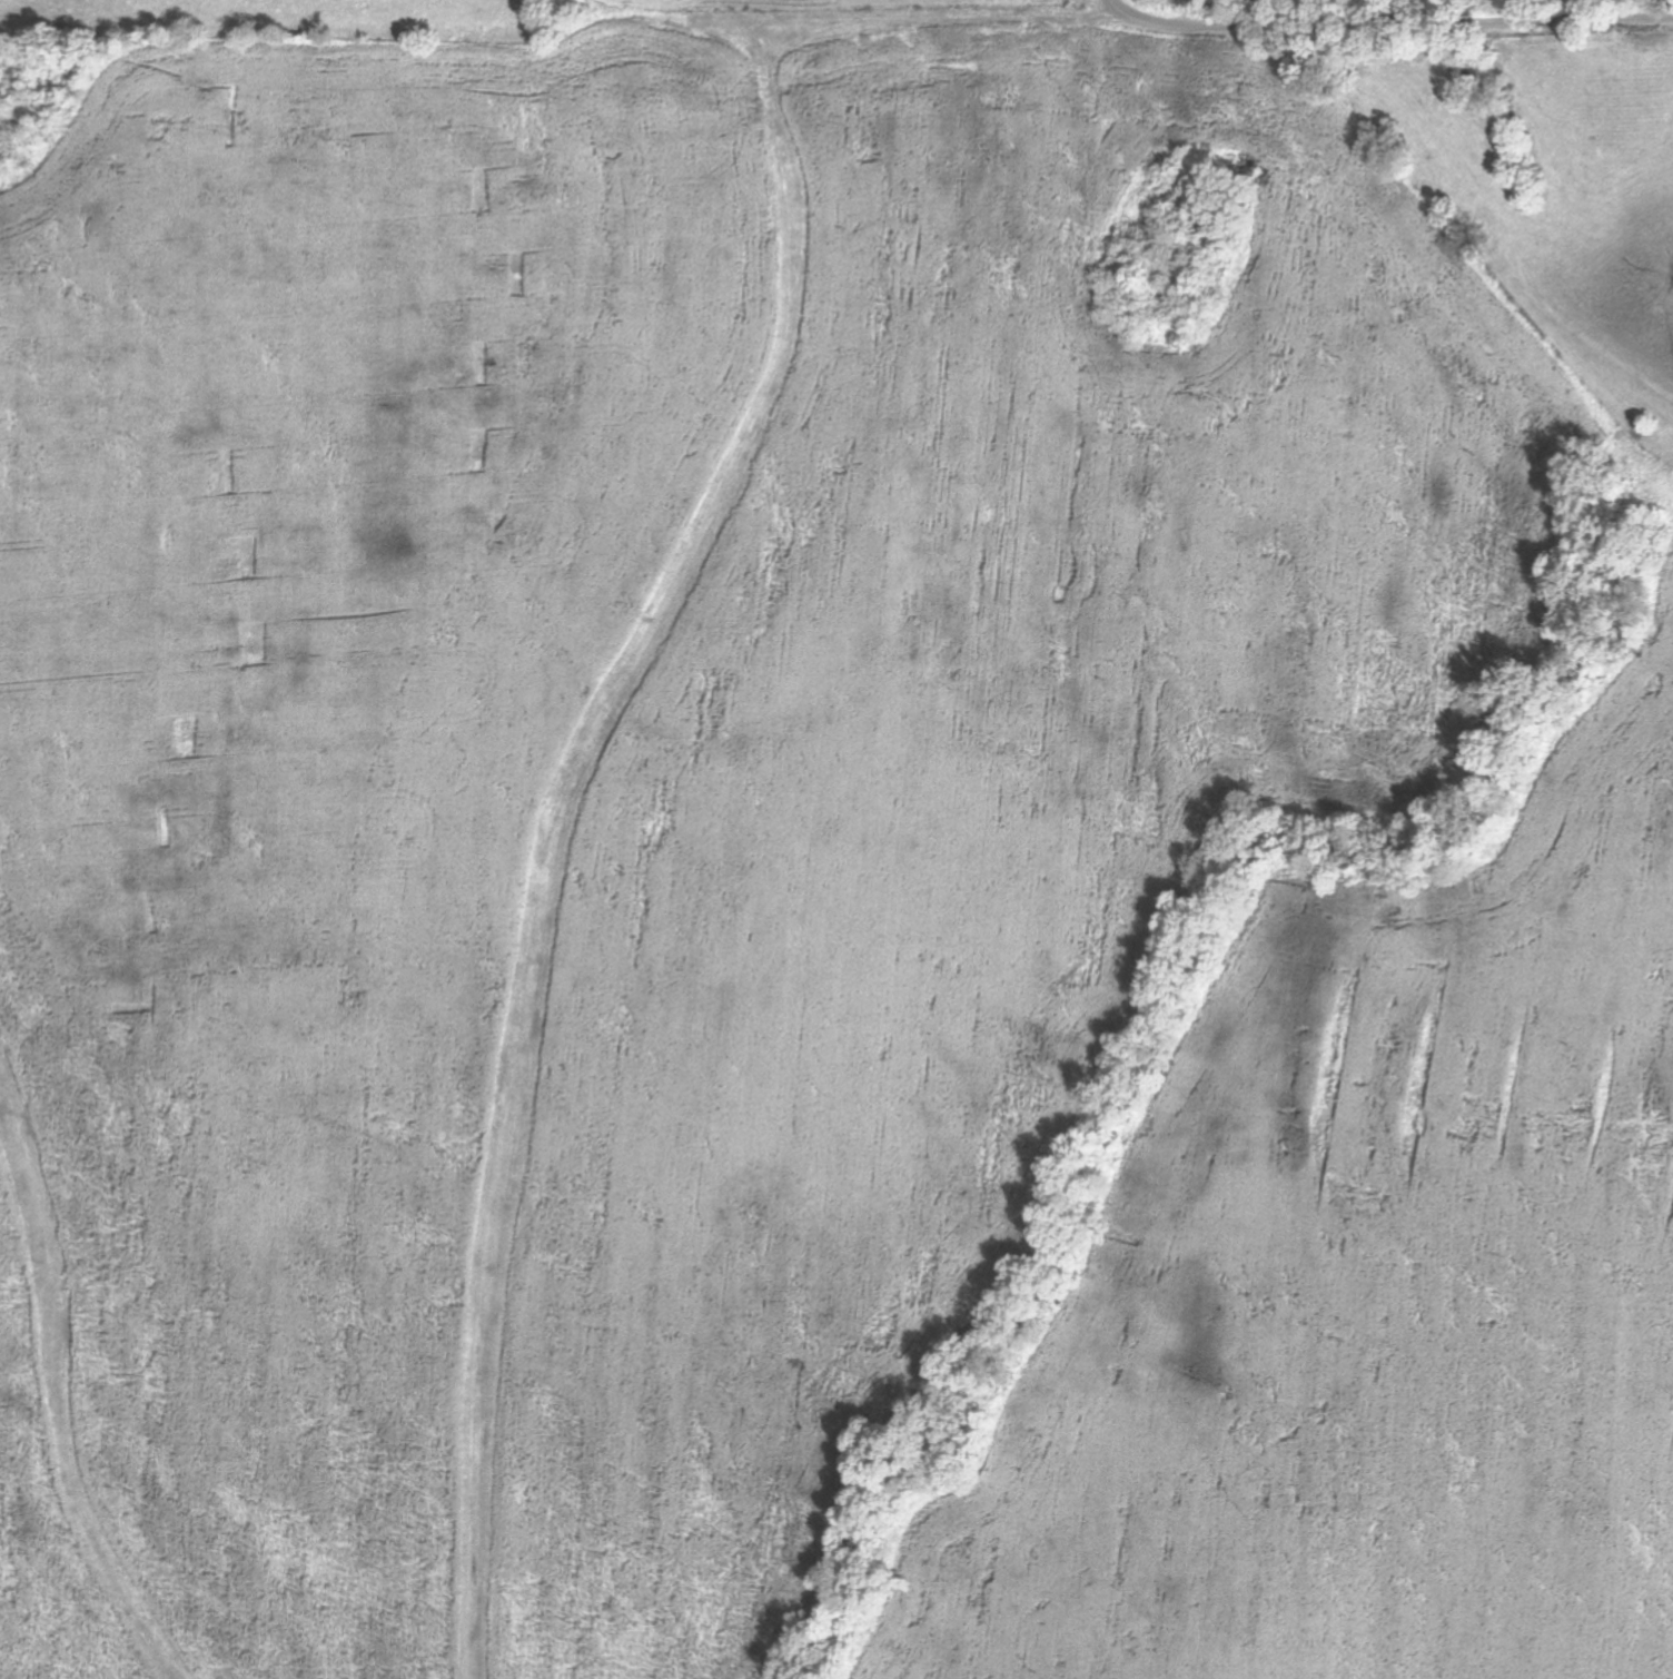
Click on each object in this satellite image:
road: (1397, 16)

